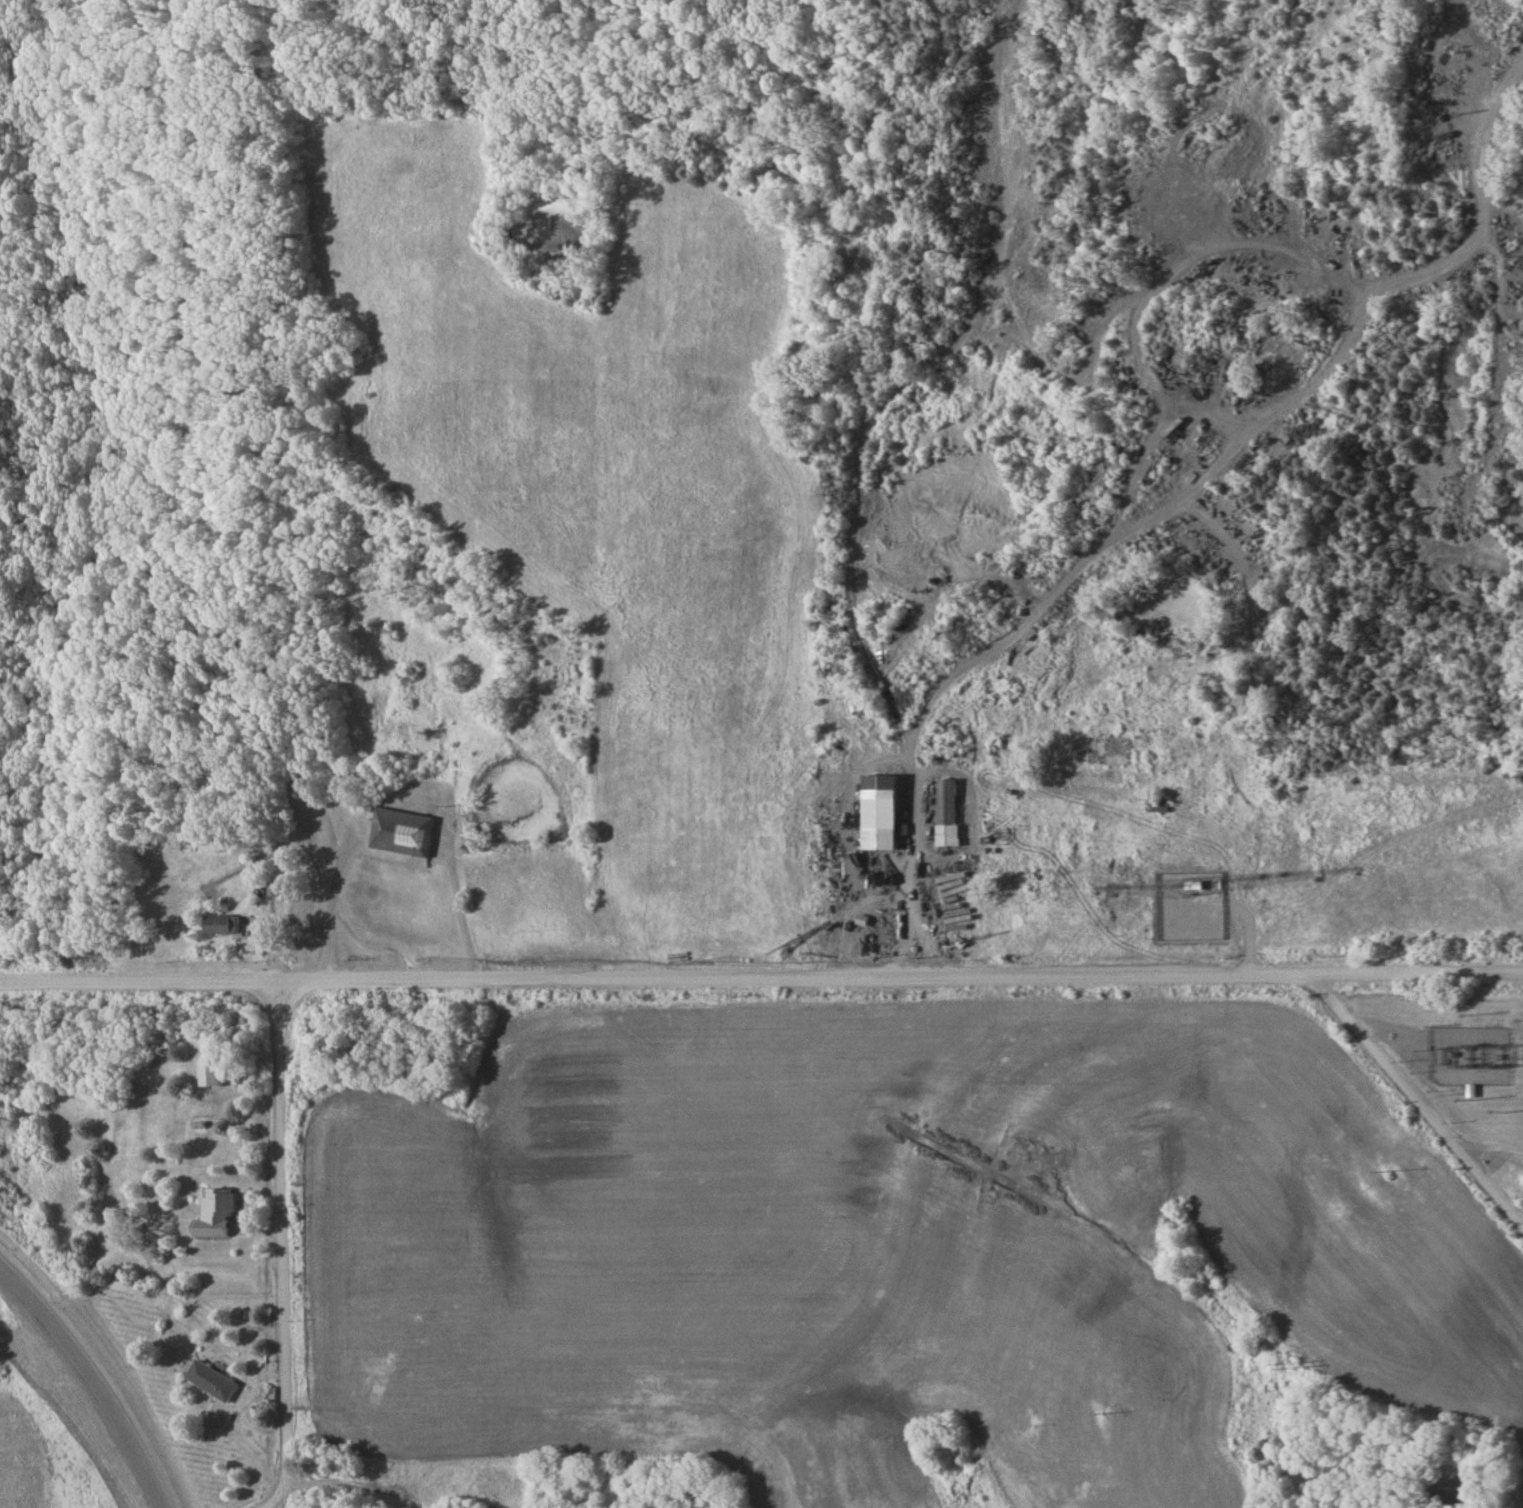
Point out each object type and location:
park: (289, 389)
road: (1256, 428)
road: (856, 466)
building: (1111, 751)
building: (885, 813)
building: (949, 813)
building: (406, 833)
road: (1365, 860)
road: (330, 907)
building: (222, 925)
road: (761, 979)
power substation: (1466, 1055)
building: (212, 1072)
building: (1471, 1090)
road: (1417, 1102)
road: (1493, 1150)
power tower: (1386, 1175)
building: (217, 1212)
road: (283, 1247)
power tower: (1280, 1355)
road: (96, 1380)
building: (214, 1380)

